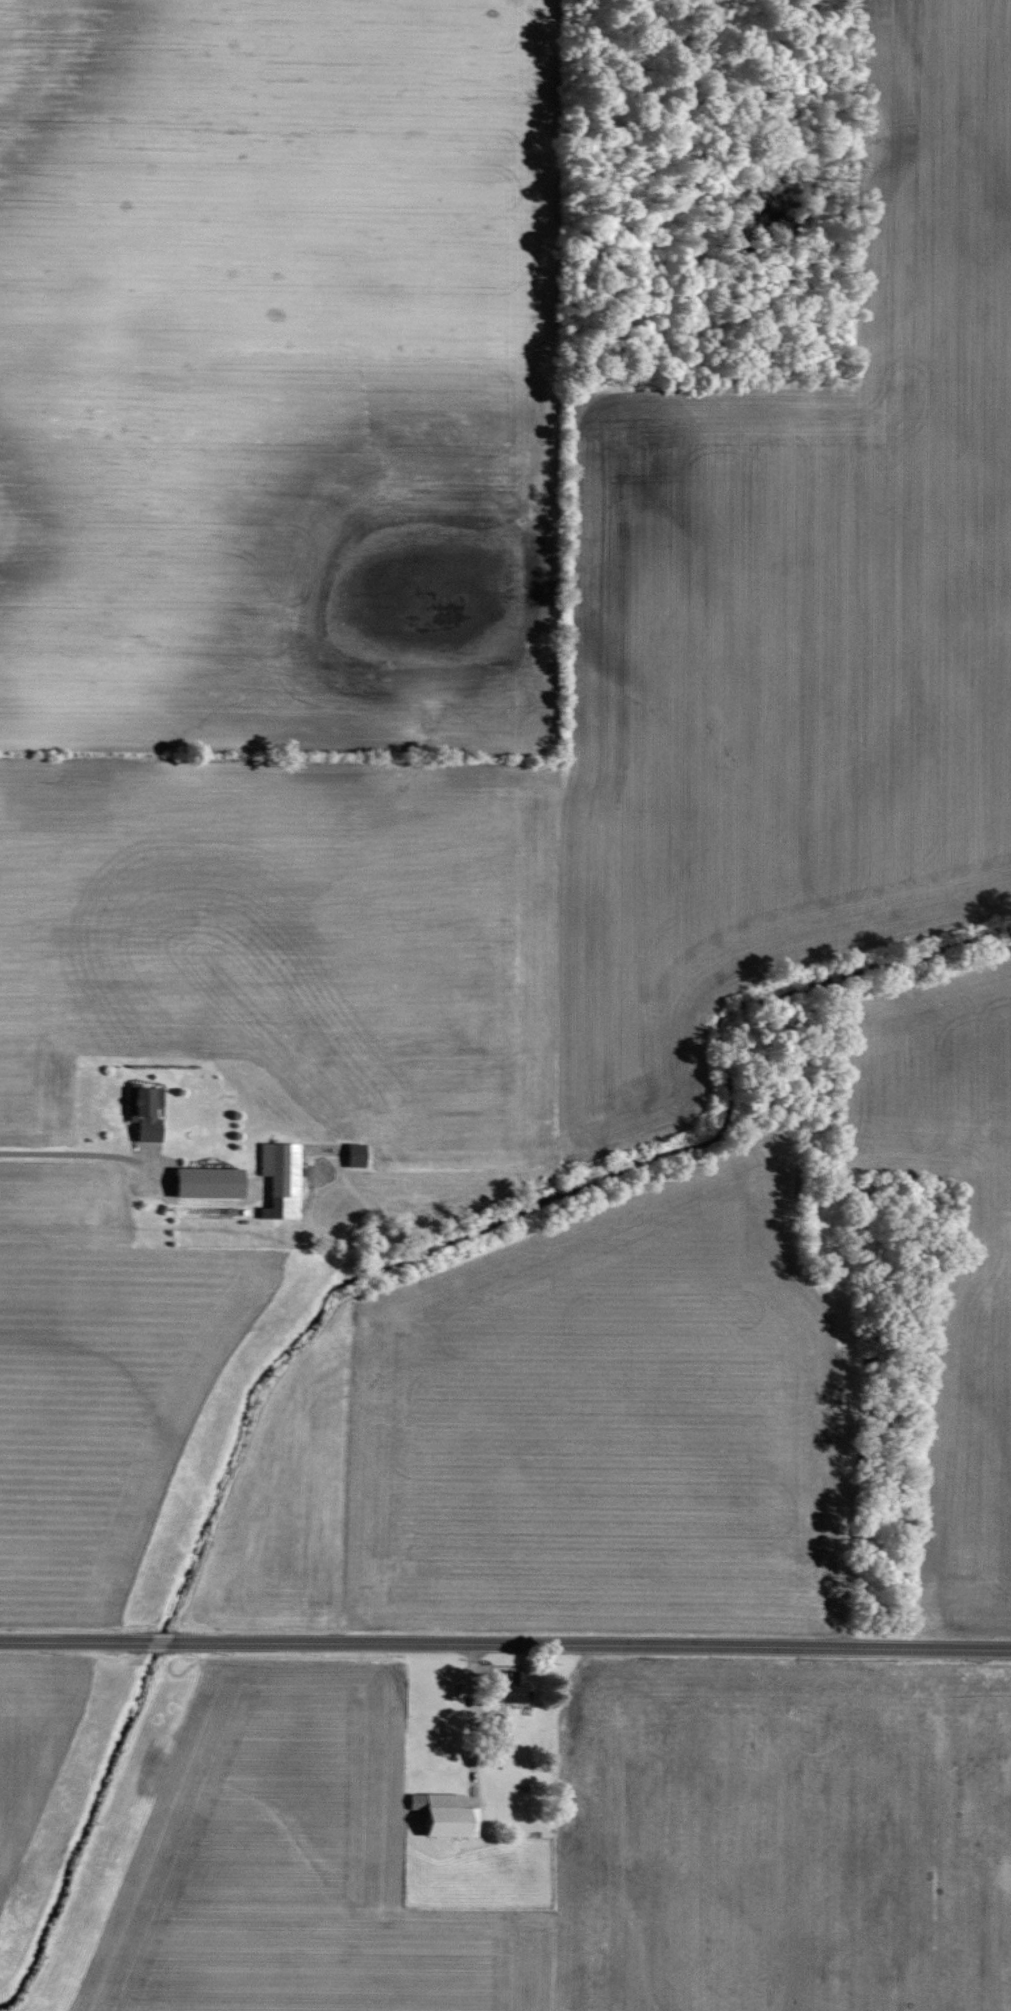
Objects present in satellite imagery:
building: (144, 1112)
road: (72, 1154)
building: (355, 1155)
building: (281, 1168)
building: (208, 1183)
road: (505, 1647)
building: (514, 1688)
building: (446, 1815)

